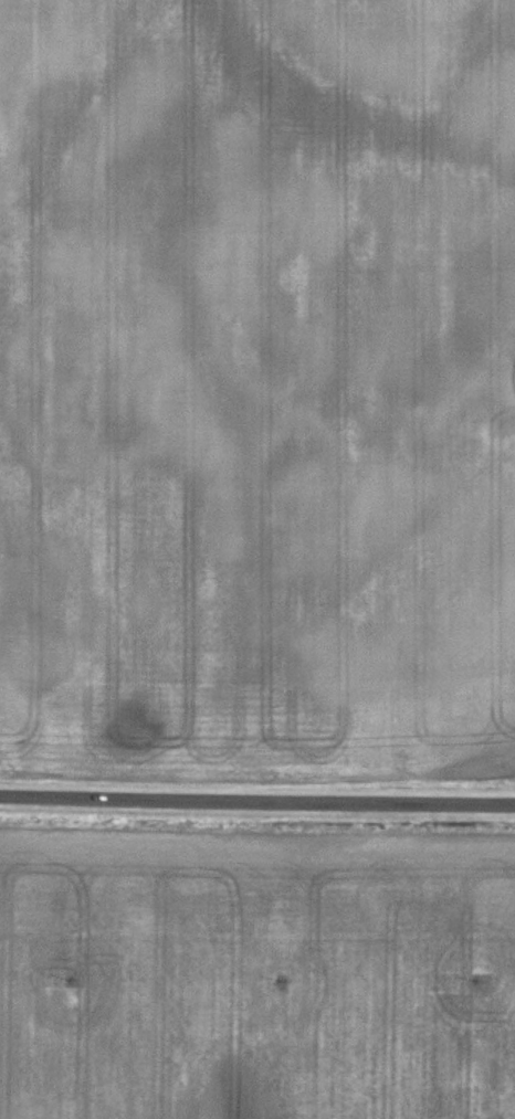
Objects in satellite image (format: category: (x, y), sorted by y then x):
road: (256, 811)

